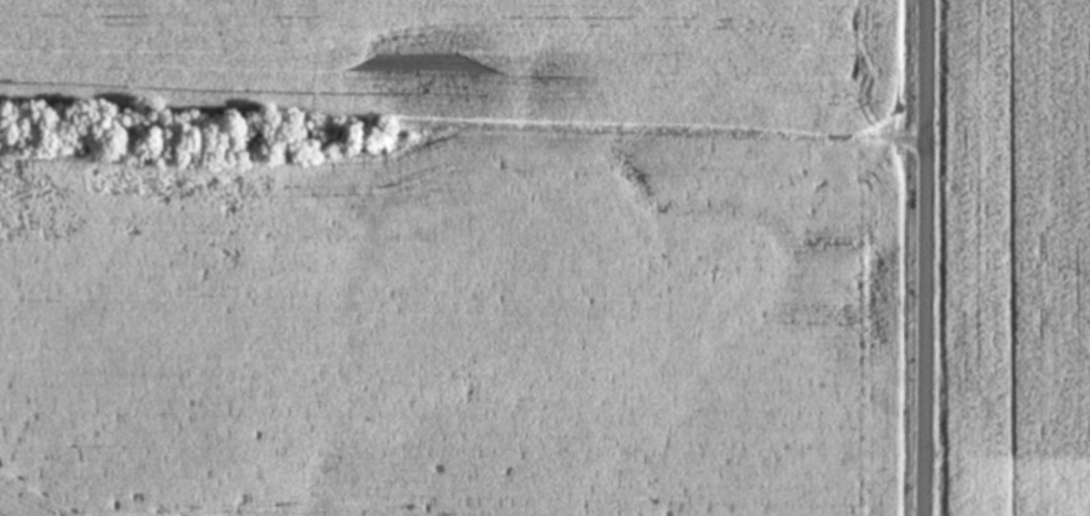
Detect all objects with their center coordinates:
road: (927, 258)

